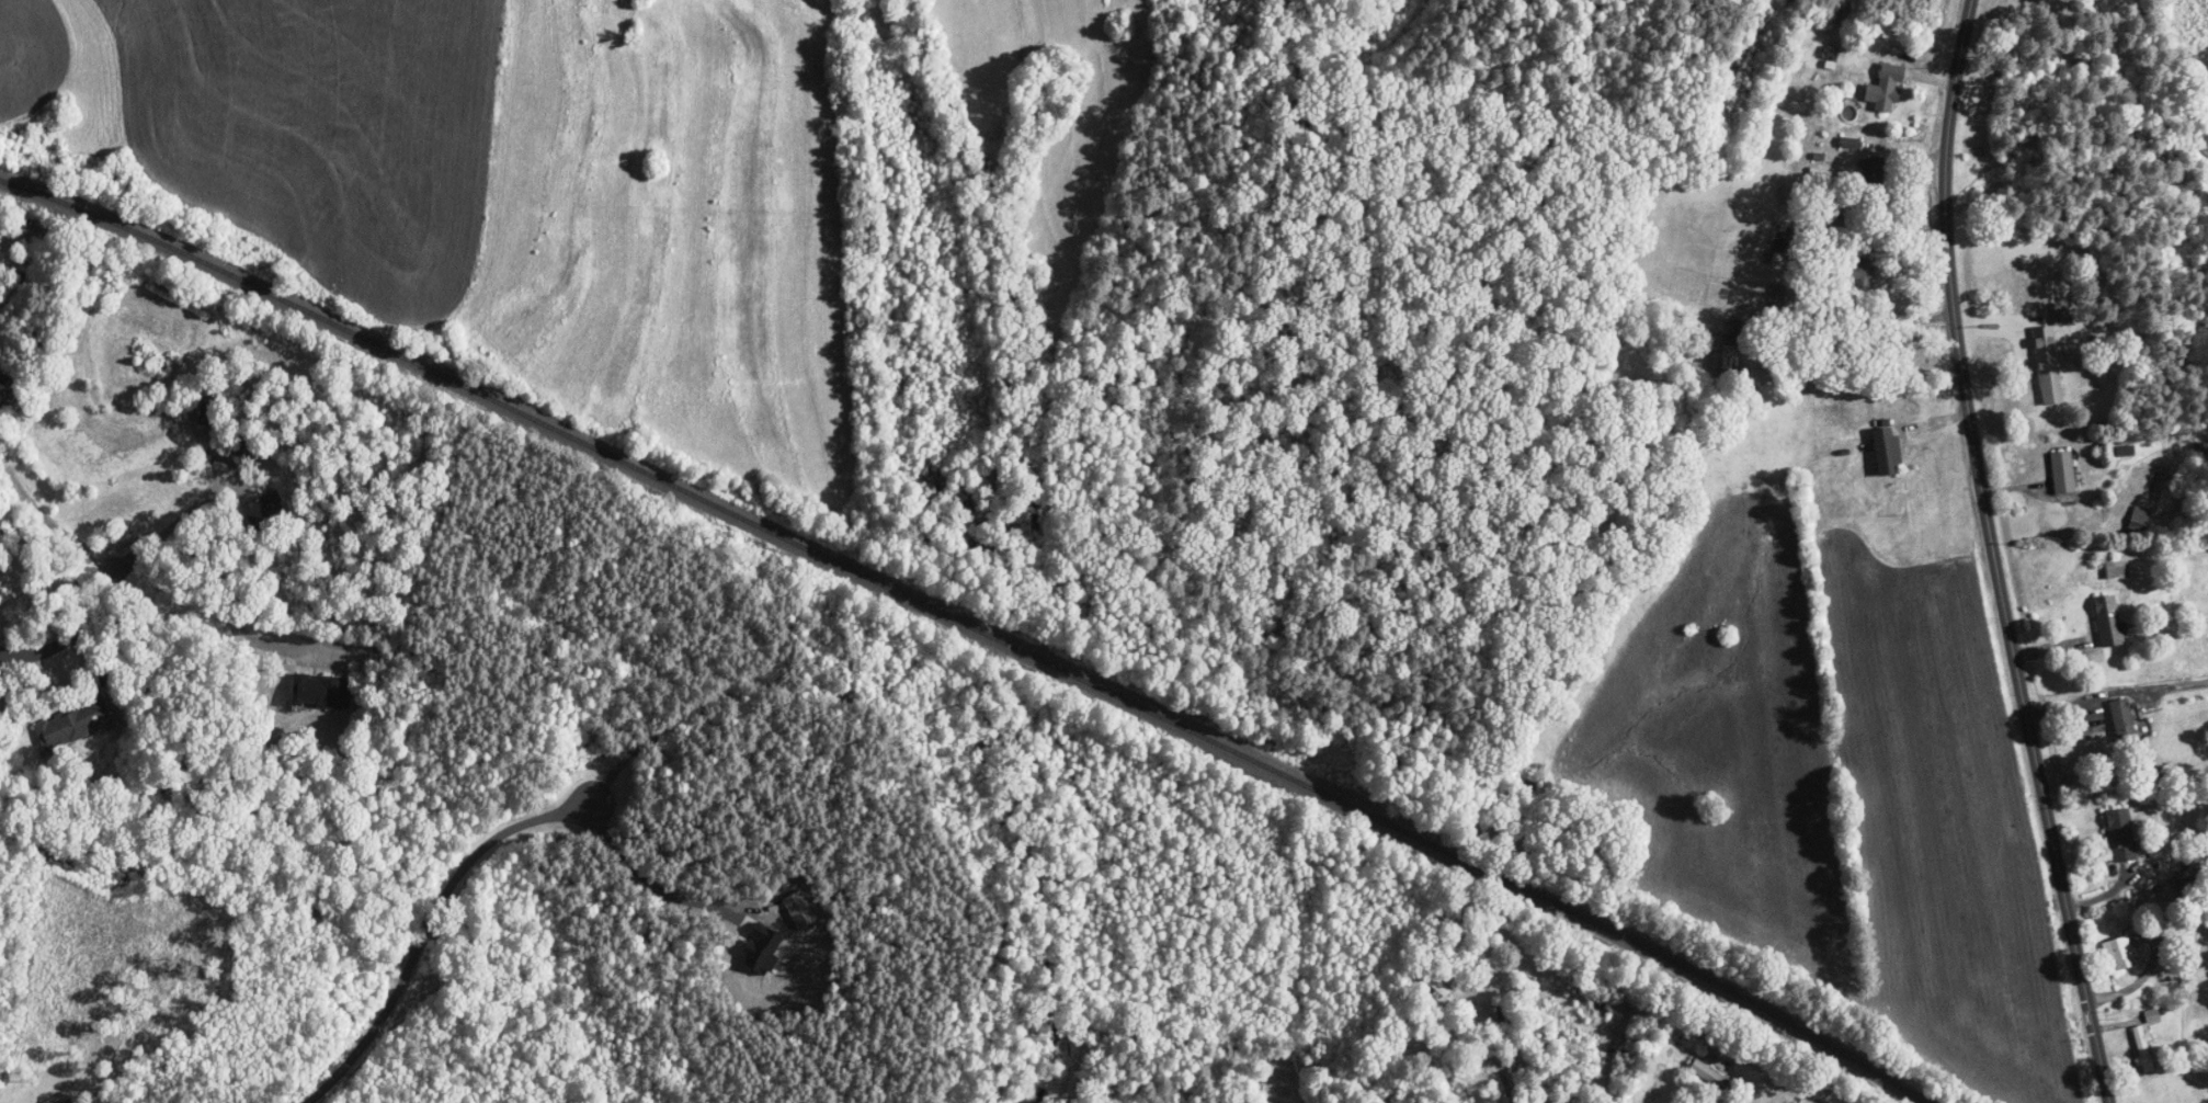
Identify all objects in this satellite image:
building: (1888, 87)
building: (1871, 171)
building: (1853, 270)
building: (2065, 319)
building: (1778, 337)
building: (1729, 357)
building: (2050, 380)
building: (208, 411)
building: (240, 451)
building: (1886, 451)
building: (2124, 451)
building: (2062, 473)
building: (263, 513)
road: (169, 525)
road: (68, 531)
road: (1998, 554)
road: (232, 610)
building: (2106, 624)
railway: (971, 626)
road: (52, 647)
building: (320, 691)
building: (2121, 720)
building: (75, 723)
building: (2120, 835)
road: (426, 924)
building: (2119, 954)
building: (1432, 980)
building: (2141, 1048)
building: (1711, 1076)

